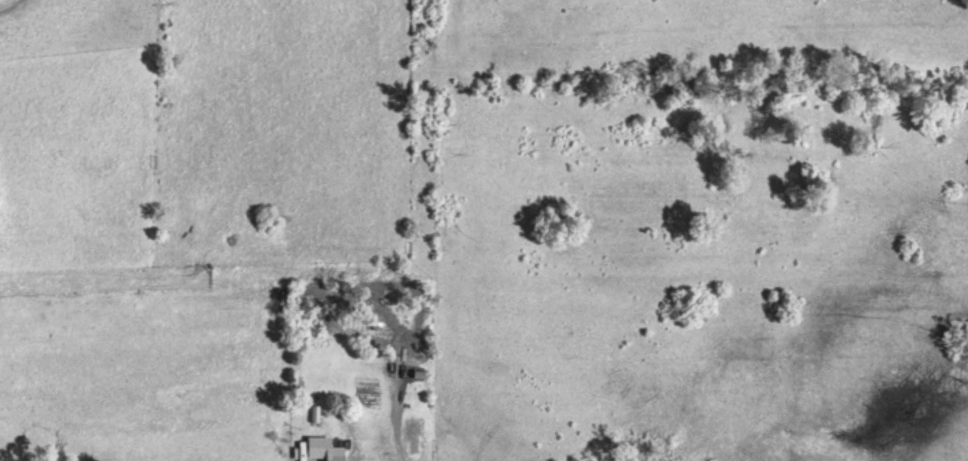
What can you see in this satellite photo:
building: (316, 413)
building: (326, 448)

